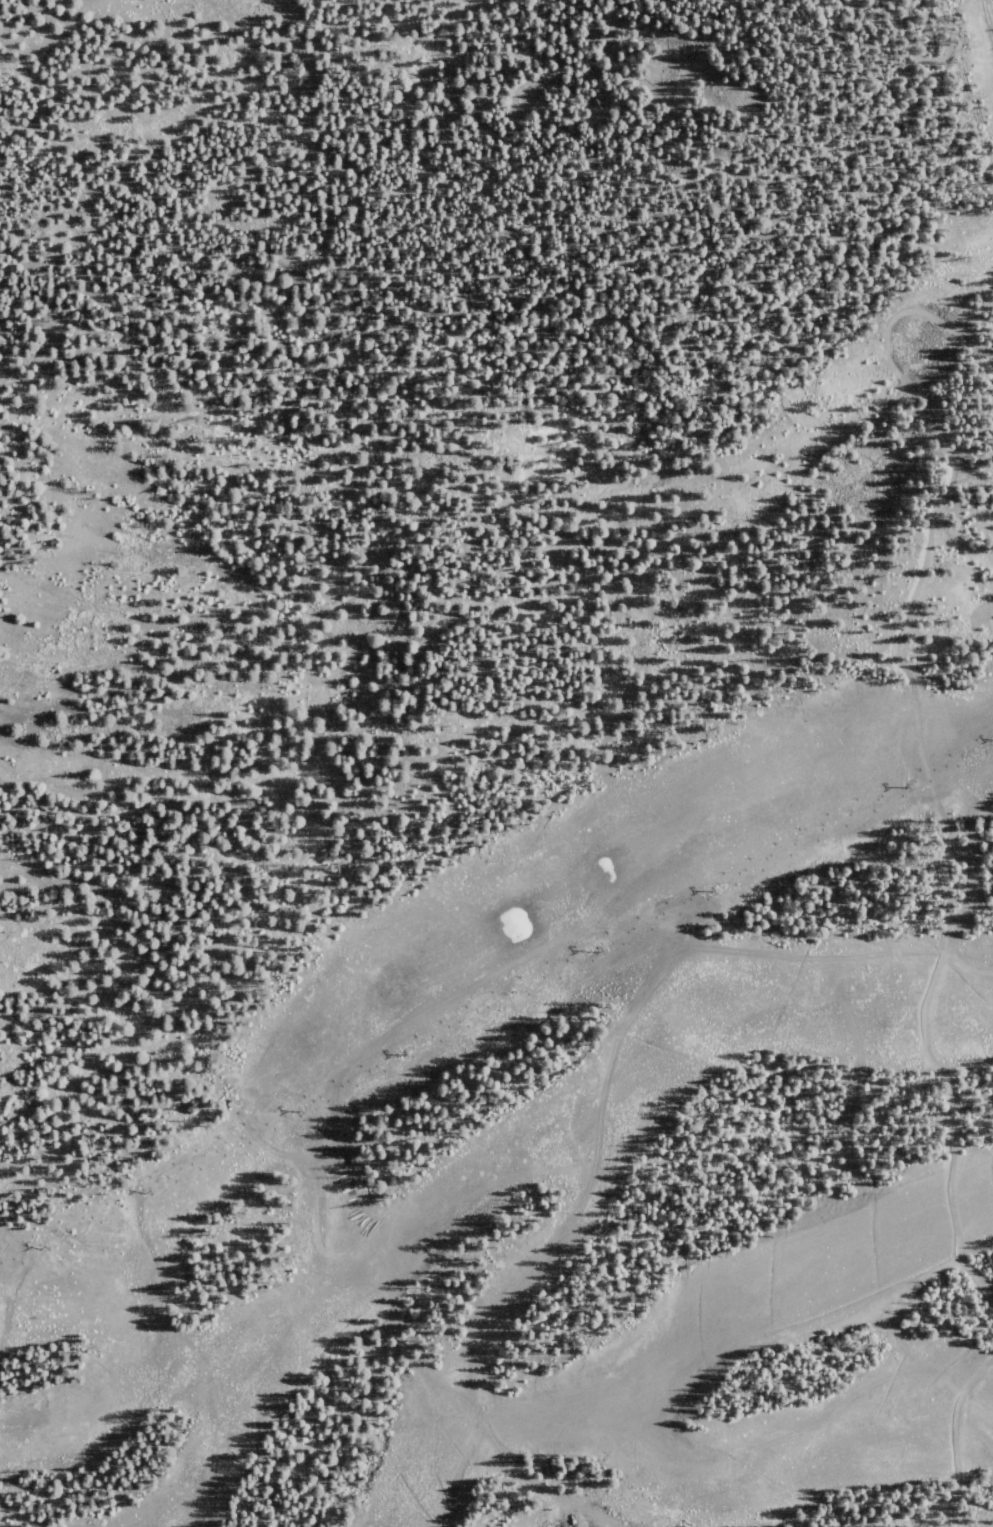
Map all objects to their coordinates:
road: (928, 402)
road: (529, 562)
road: (976, 644)
ski resort: (496, 763)
aerialway pylon: (906, 787)
road: (481, 792)
aerialway pylon: (710, 891)
road: (498, 924)
aerialway pylon: (598, 950)
road: (935, 978)
aerialway pylon: (402, 1054)
aerialway pylon: (295, 1110)
road: (808, 1120)
road: (606, 1138)
aerialway pylon: (144, 1190)
aerialway pylon: (37, 1247)
road: (955, 1430)

